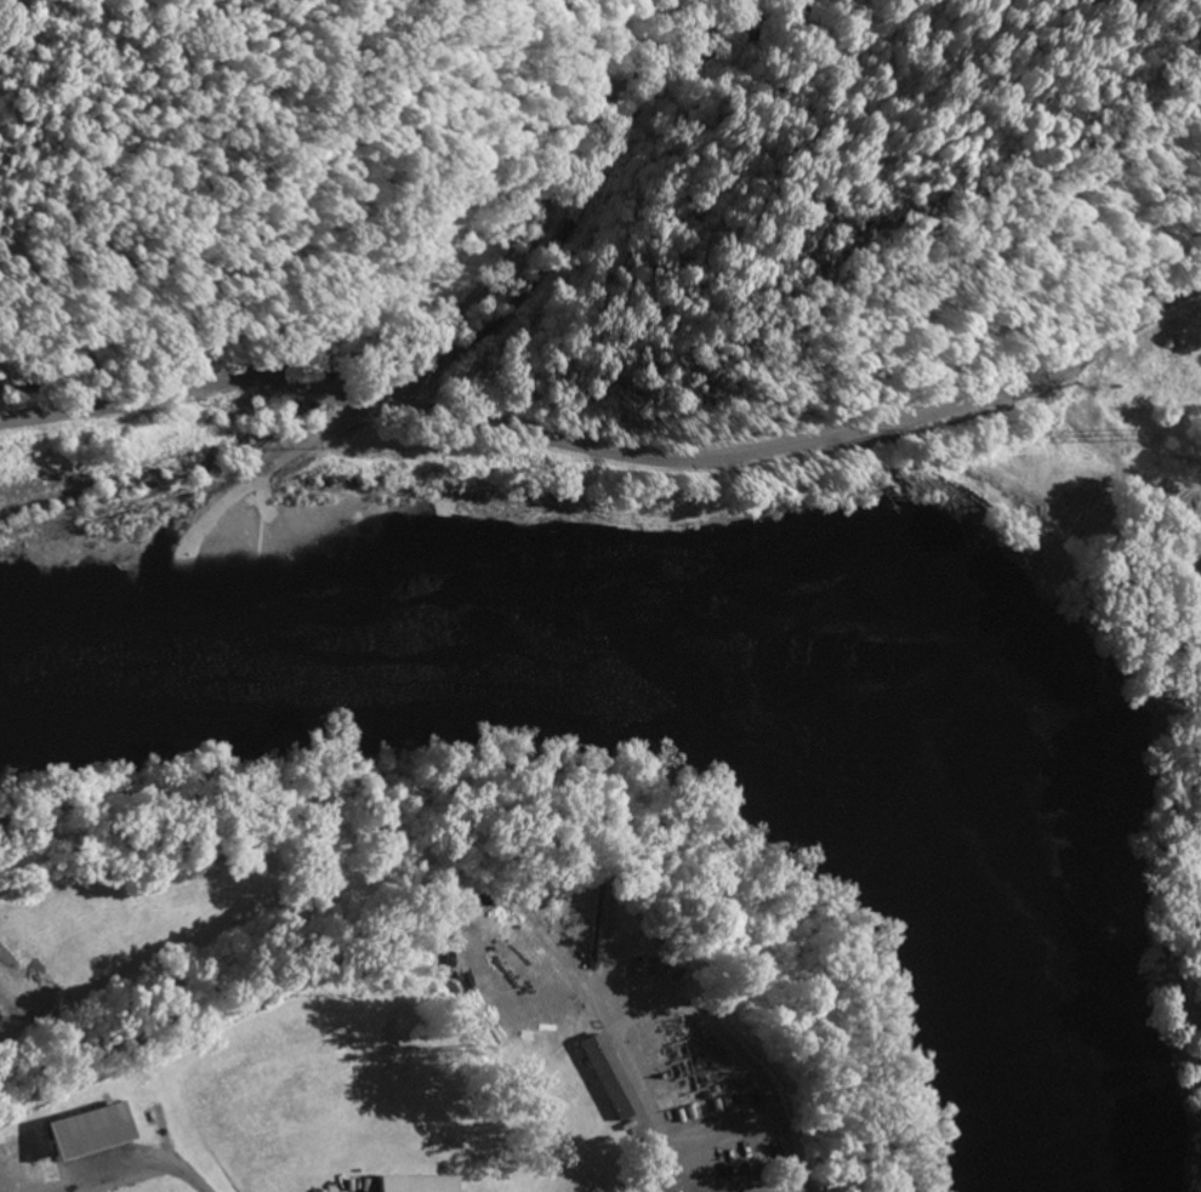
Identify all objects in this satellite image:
road: (593, 186)
building: (66, 352)
road: (320, 386)
road: (146, 397)
road: (786, 440)
road: (267, 468)
river: (712, 640)
road: (681, 1006)
wastewater plant: (445, 1067)
building: (608, 1073)
building: (86, 1128)
road: (670, 1151)
road: (120, 1170)
building: (414, 1182)

